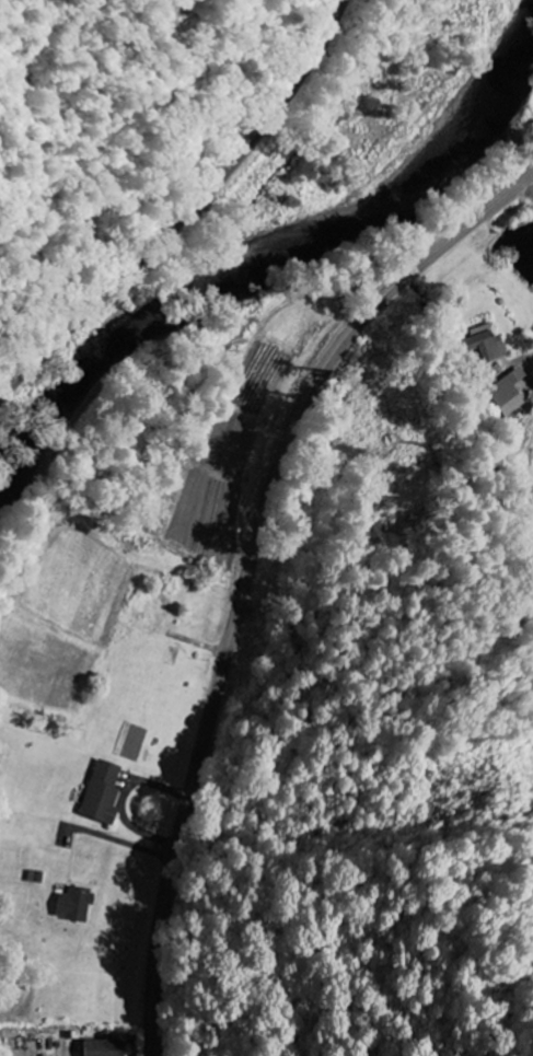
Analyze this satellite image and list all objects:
railway: (186, 206)
river: (277, 255)
building: (484, 344)
building: (508, 392)
road: (255, 569)
building: (103, 791)
building: (74, 903)
building: (105, 1046)

